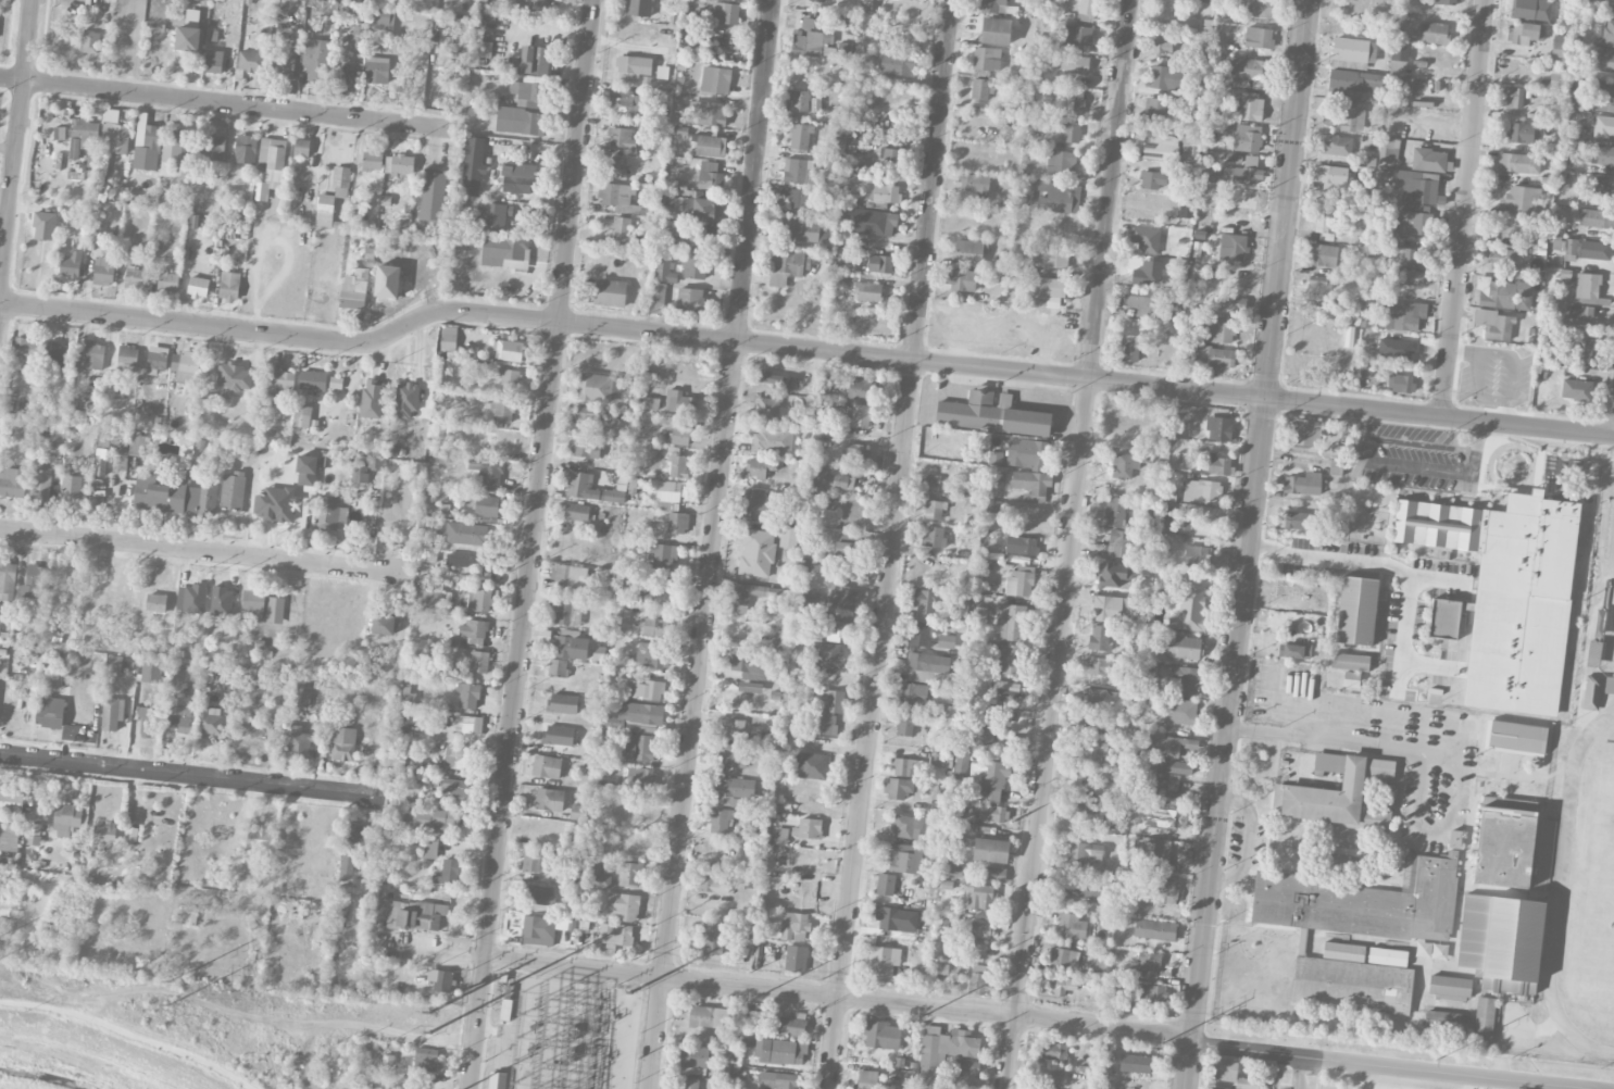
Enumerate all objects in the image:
building: (817, 0)
building: (1201, 1)
building: (1446, 2)
building: (531, 4)
building: (990, 5)
building: (322, 7)
building: (1088, 7)
building: (639, 8)
building: (1258, 8)
building: (1607, 8)
building: (866, 9)
building: (1531, 9)
building: (725, 13)
building: (383, 18)
building: (996, 32)
building: (1435, 33)
building: (1524, 34)
building: (1609, 34)
building: (358, 37)
building: (1258, 38)
building: (189, 39)
building: (808, 40)
building: (90, 41)
building: (1165, 47)
building: (1560, 47)
building: (483, 49)
building: (844, 50)
building: (1076, 50)
building: (1353, 53)
building: (986, 59)
building: (1399, 59)
building: (315, 60)
building: (533, 61)
building: (1603, 61)
building: (213, 62)
building: (250, 62)
building: (897, 64)
building: (284, 66)
building: (633, 68)
building: (1246, 68)
building: (377, 71)
building: (343, 73)
building: (1165, 77)
building: (1556, 78)
building: (715, 80)
building: (1353, 85)
building: (1400, 86)
building: (979, 89)
building: (529, 93)
building: (1605, 96)
building: (1513, 98)
building: (1073, 100)
building: (627, 101)
building: (798, 101)
road: (229, 105)
building: (1250, 107)
building: (1154, 112)
building: (708, 113)
building: (1351, 116)
building: (521, 122)
building: (1597, 124)
building: (1223, 129)
building: (1073, 132)
building: (1521, 133)
building: (86, 134)
building: (116, 137)
building: (800, 137)
building: (621, 138)
building: (1247, 138)
road: (15, 142)
building: (709, 146)
building: (1337, 146)
building: (1159, 147)
building: (178, 148)
building: (302, 148)
building: (214, 149)
building: (246, 149)
building: (149, 150)
building: (1389, 151)
building: (1192, 152)
building: (1596, 154)
building: (1233, 159)
building: (891, 160)
building: (1428, 160)
building: (372, 161)
building: (1060, 163)
building: (1518, 163)
building: (399, 164)
building: (472, 166)
building: (268, 167)
building: (614, 170)
building: (796, 170)
building: (76, 172)
building: (1242, 175)
building: (710, 176)
building: (518, 178)
building: (1335, 178)
building: (1153, 180)
building: (341, 181)
building: (974, 184)
building: (1597, 186)
building: (1418, 187)
building: (883, 193)
building: (433, 195)
building: (616, 195)
building: (1052, 196)
building: (1522, 200)
building: (798, 201)
road: (1463, 208)
building: (325, 210)
building: (706, 210)
building: (496, 217)
building: (1597, 218)
building: (885, 223)
building: (1326, 223)
building: (1412, 223)
building: (45, 226)
building: (799, 229)
building: (621, 230)
building: (697, 234)
building: (1535, 239)
building: (1233, 247)
building: (1569, 247)
building: (1377, 249)
building: (1596, 251)
building: (968, 253)
building: (515, 255)
building: (1323, 255)
building: (1409, 256)
building: (1052, 258)
building: (1502, 259)
building: (879, 264)
building: (71, 265)
building: (696, 266)
building: (788, 266)
building: (105, 268)
building: (664, 271)
building: (136, 278)
building: (1409, 278)
building: (167, 280)
building: (961, 280)
building: (229, 286)
building: (198, 287)
building: (1319, 287)
building: (1587, 289)
building: (353, 290)
building: (1042, 291)
building: (868, 292)
building: (610, 293)
building: (1503, 293)
building: (658, 295)
building: (690, 300)
building: (1144, 302)
building: (1229, 303)
building: (1346, 309)
building: (1404, 316)
building: (1579, 317)
building: (1494, 324)
building: (1216, 328)
building: (449, 338)
building: (27, 348)
building: (1131, 348)
building: (1581, 348)
road: (804, 349)
building: (509, 351)
building: (58, 354)
building: (93, 354)
road: (1514, 356)
building: (1219, 358)
building: (127, 359)
building: (157, 360)
building: (185, 366)
building: (234, 377)
building: (509, 377)
building: (313, 380)
building: (775, 380)
building: (281, 383)
building: (336, 383)
building: (1400, 383)
building: (599, 387)
building: (861, 390)
building: (1576, 390)
building: (372, 398)
building: (678, 402)
building: (649, 403)
building: (502, 410)
building: (767, 410)
building: (588, 413)
building: (991, 415)
building: (302, 416)
building: (860, 416)
building: (1218, 428)
building: (1305, 433)
building: (680, 436)
building: (772, 439)
building: (137, 443)
building: (585, 449)
building: (854, 452)
building: (1027, 453)
building: (994, 458)
building: (121, 460)
building: (100, 465)
building: (1125, 465)
building: (1218, 465)
building: (678, 466)
road: (1414, 466)
building: (1336, 467)
building: (760, 468)
building: (366, 470)
building: (306, 471)
building: (488, 472)
building: (834, 479)
building: (934, 479)
building: (12, 483)
building: (622, 483)
building: (1302, 484)
building: (40, 485)
building: (71, 485)
building: (1031, 485)
building: (638, 487)
building: (590, 489)
building: (1201, 491)
building: (160, 492)
building: (233, 493)
building: (665, 495)
building: (201, 501)
building: (274, 504)
building: (486, 505)
building: (992, 506)
building: (847, 509)
building: (933, 510)
building: (576, 512)
building: (1115, 512)
building: (328, 513)
road: (1252, 517)
building: (1177, 521)
building: (1299, 521)
building: (677, 523)
building: (466, 534)
building: (931, 536)
building: (788, 537)
road: (530, 543)
building: (849, 543)
building: (1117, 543)
road: (712, 544)
road: (892, 544)
road: (1072, 544)
building: (1022, 546)
building: (656, 553)
building: (756, 553)
road: (204, 554)
building: (1197, 555)
road: (1380, 564)
building: (1112, 575)
building: (567, 576)
building: (8, 580)
building: (35, 581)
building: (1021, 583)
building: (1286, 589)
building: (1509, 593)
building: (655, 594)
building: (751, 596)
building: (843, 598)
building: (478, 600)
park: (1607, 600)
building: (431, 601)
building: (1317, 601)
building: (253, 602)
building: (926, 602)
building: (155, 603)
building: (1189, 605)
building: (1111, 609)
building: (777, 611)
building: (1356, 611)
building: (566, 614)
building: (978, 615)
building: (1443, 618)
building: (1010, 623)
building: (384, 625)
building: (655, 627)
building: (837, 627)
building: (472, 629)
building: (779, 634)
building: (919, 634)
building: (1099, 638)
building: (947, 641)
building: (1183, 648)
building: (1296, 651)
building: (828, 655)
building: (651, 656)
building: (1008, 658)
building: (479, 662)
building: (1350, 662)
building: (114, 664)
building: (748, 664)
building: (1100, 666)
building: (558, 668)
building: (930, 669)
building: (151, 673)
building: (1351, 679)
building: (1184, 681)
building: (1609, 686)
building: (1009, 687)
building: (646, 690)
building: (1591, 693)
building: (913, 694)
building: (301, 696)
building: (468, 696)
building: (408, 698)
building: (1094, 701)
building: (563, 703)
building: (829, 711)
building: (1178, 711)
building: (50, 712)
building: (112, 713)
building: (636, 715)
building: (177, 717)
building: (148, 722)
building: (209, 722)
building: (468, 725)
building: (905, 726)
building: (735, 729)
building: (981, 729)
building: (558, 736)
building: (1515, 737)
road: (1341, 741)
building: (1014, 743)
building: (343, 744)
building: (300, 746)
building: (639, 748)
building: (1172, 752)
building: (1091, 753)
building: (733, 755)
building: (460, 759)
building: (941, 760)
building: (1328, 762)
building: (812, 765)
building: (977, 765)
building: (547, 766)
building: (961, 766)
building: (902, 767)
road: (192, 776)
building: (639, 777)
building: (1076, 777)
building: (993, 780)
track: (1575, 786)
building: (455, 788)
building: (897, 789)
building: (734, 791)
building: (1174, 791)
building: (1276, 797)
building: (1341, 797)
building: (549, 800)
building: (11, 801)
building: (1084, 811)
building: (578, 814)
building: (993, 814)
building: (66, 817)
building: (431, 819)
building: (1172, 819)
building: (721, 821)
building: (906, 826)
building: (966, 828)
building: (808, 829)
building: (34, 834)
building: (354, 834)
building: (1546, 834)
building: (104, 836)
building: (780, 836)
building: (9, 839)
building: (260, 839)
building: (1454, 839)
building: (1504, 846)
building: (429, 849)
building: (990, 850)
building: (1085, 853)
building: (1152, 853)
building: (904, 859)
building: (535, 861)
building: (347, 865)
building: (951, 867)
building: (449, 872)
building: (629, 873)
building: (991, 874)
building: (593, 876)
building: (710, 880)
building: (885, 885)
building: (1078, 889)
building: (1166, 892)
building: (539, 894)
building: (979, 897)
building: (1365, 902)
park: (1596, 905)
building: (622, 907)
building: (414, 914)
building: (897, 919)
building: (793, 926)
building: (1071, 926)
building: (538, 930)
building: (1155, 930)
building: (979, 931)
building: (615, 935)
building: (712, 939)
building: (1501, 942)
building: (1302, 944)
building: (1423, 950)
building: (1346, 952)
building: (1063, 956)
building: (1387, 956)
building: (796, 959)
building: (883, 962)
building: (1147, 965)
building: (942, 968)
track: (1548, 969)
building: (977, 979)
building: (440, 980)
power tower: (174, 984)
building: (1063, 986)
building: (1449, 987)
power tower: (630, 992)
building: (1152, 993)
road: (837, 997)
power tower: (751, 999)
power tower: (168, 1004)
building: (509, 1010)
power tower: (429, 1012)
building: (708, 1016)
building: (1485, 1018)
building: (1446, 1022)
building: (792, 1025)
road: (487, 1029)
road: (129, 1032)
power tower: (430, 1032)
power substation: (563, 1035)
building: (881, 1035)
road: (1191, 1039)
power tower: (1160, 1042)
building: (946, 1046)
building: (780, 1052)
building: (1055, 1052)
building: (693, 1056)
building: (426, 1060)
power tower: (1436, 1060)
building: (1136, 1064)
road: (1188, 1065)
road: (1387, 1065)
building: (965, 1066)
road: (1299, 1072)
building: (1229, 1073)
building: (906, 1078)
building: (866, 1079)
building: (499, 1080)
building: (779, 1080)
building: (1044, 1081)
building: (689, 1084)
building: (1215, 1088)

